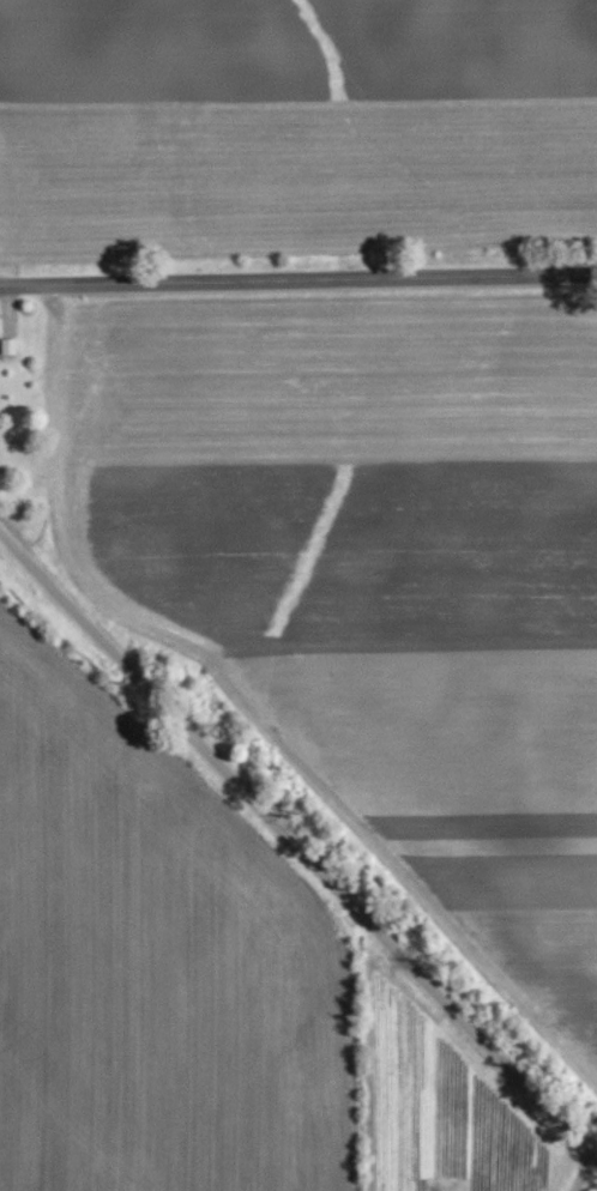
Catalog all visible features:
road: (297, 279)
road: (296, 851)
road: (580, 1171)

